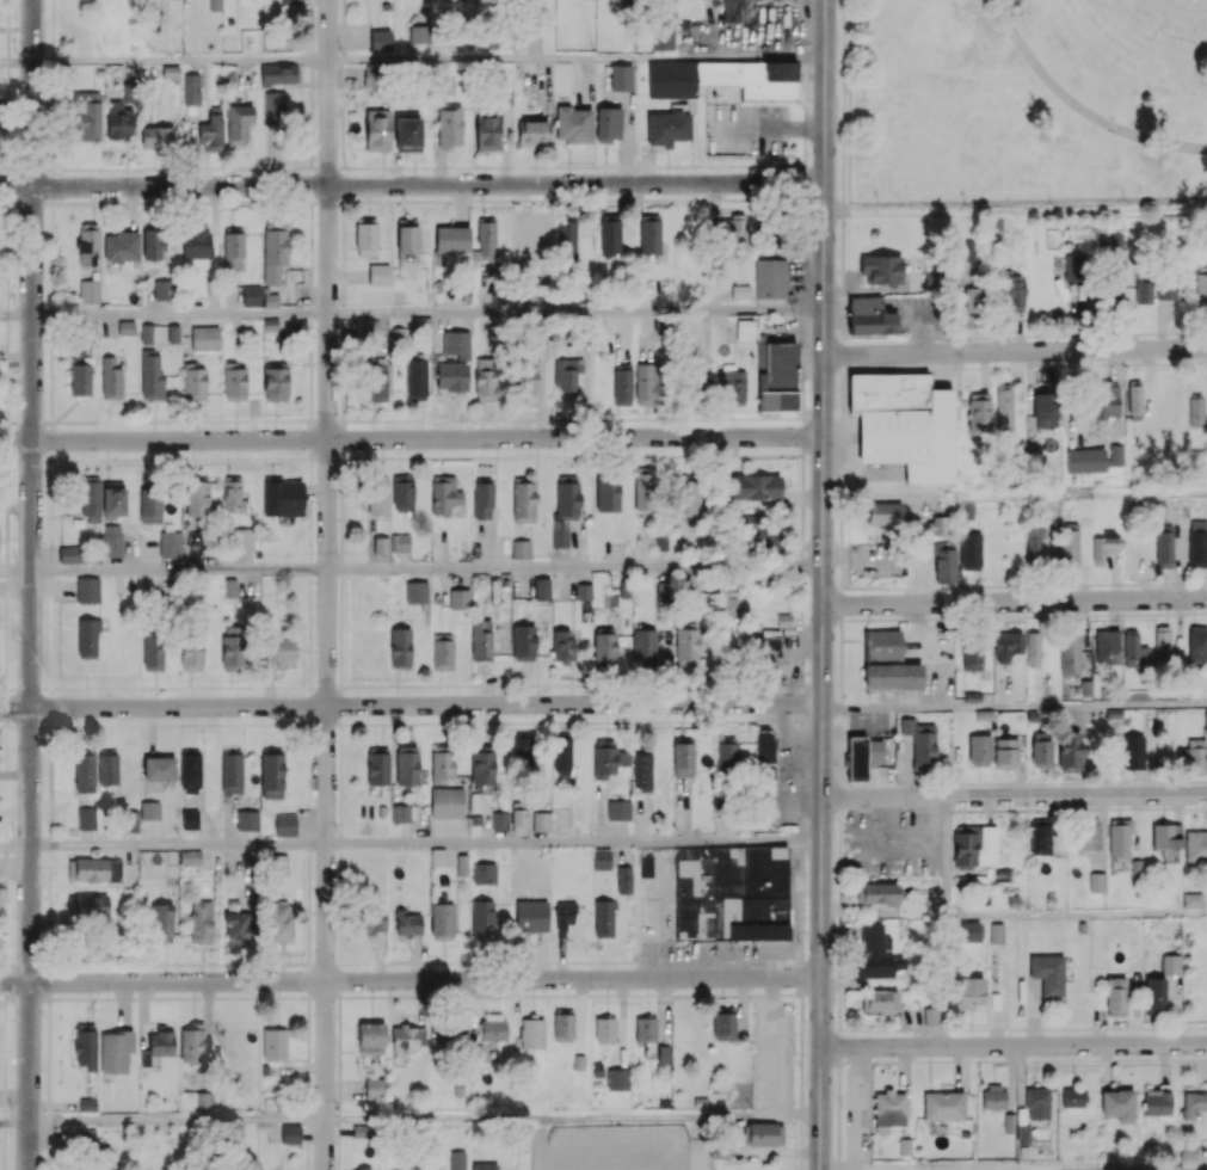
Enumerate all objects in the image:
road: (7, 4)
road: (312, 7)
building: (734, 10)
road: (51, 17)
road: (8, 26)
road: (343, 30)
building: (419, 33)
road: (312, 35)
building: (663, 37)
building: (380, 39)
building: (250, 41)
road: (180, 60)
road: (575, 60)
road: (16, 61)
road: (7, 72)
building: (278, 74)
building: (371, 75)
building: (620, 78)
building: (723, 79)
road: (805, 81)
building: (444, 86)
building: (191, 88)
park: (1024, 98)
road: (51, 100)
road: (1079, 106)
building: (273, 107)
road: (343, 107)
road: (312, 110)
building: (87, 116)
building: (118, 121)
building: (238, 122)
building: (573, 124)
building: (608, 124)
building: (666, 127)
building: (449, 128)
building: (377, 129)
road: (6, 131)
building: (211, 131)
building: (487, 131)
building: (532, 131)
building: (407, 134)
building: (156, 136)
road: (343, 160)
road: (657, 165)
road: (842, 165)
road: (2, 166)
road: (298, 166)
road: (327, 166)
road: (504, 166)
road: (103, 167)
road: (179, 167)
road: (224, 167)
road: (266, 167)
road: (420, 167)
road: (315, 184)
road: (339, 184)
road: (411, 184)
road: (51, 185)
road: (673, 198)
road: (776, 198)
road: (450, 199)
road: (573, 199)
road: (173, 201)
road: (205, 201)
road: (224, 201)
road: (242, 201)
road: (278, 201)
road: (308, 201)
road: (351, 201)
road: (100, 202)
road: (344, 202)
road: (4, 205)
road: (1015, 205)
road: (343, 208)
road: (51, 218)
road: (808, 222)
building: (732, 233)
building: (566, 234)
building: (609, 234)
building: (649, 234)
building: (365, 236)
road: (7, 238)
building: (537, 239)
building: (196, 241)
building: (449, 242)
building: (485, 242)
building: (87, 244)
building: (153, 244)
building: (407, 244)
building: (121, 246)
building: (233, 250)
building: (275, 251)
building: (968, 252)
road: (310, 259)
building: (1074, 267)
building: (881, 269)
road: (341, 273)
building: (377, 273)
building: (770, 278)
building: (1166, 288)
building: (1200, 289)
road: (51, 290)
building: (162, 290)
building: (88, 291)
building: (1144, 291)
building: (1012, 292)
building: (1109, 292)
building: (251, 295)
building: (972, 298)
building: (270, 300)
road: (575, 312)
road: (180, 314)
road: (16, 315)
building: (870, 318)
building: (540, 326)
building: (125, 327)
building: (744, 330)
road: (808, 332)
building: (146, 333)
building: (173, 333)
road: (310, 333)
building: (204, 338)
building: (456, 344)
road: (7, 345)
road: (1015, 352)
road: (341, 361)
building: (150, 376)
building: (451, 376)
building: (565, 376)
building: (777, 377)
building: (80, 378)
building: (110, 378)
building: (415, 380)
building: (485, 380)
building: (275, 381)
building: (525, 381)
building: (193, 382)
building: (234, 382)
building: (377, 382)
road: (310, 383)
building: (646, 383)
building: (732, 384)
road: (50, 386)
building: (622, 386)
building: (1134, 399)
building: (1106, 400)
road: (341, 404)
building: (1004, 407)
building: (1045, 410)
building: (1195, 411)
building: (978, 412)
road: (760, 417)
road: (558, 418)
road: (628, 418)
road: (686, 418)
road: (253, 419)
road: (427, 419)
road: (110, 420)
road: (185, 420)
road: (325, 420)
road: (4, 421)
road: (29, 421)
building: (904, 424)
road: (806, 433)
road: (312, 437)
road: (339, 437)
road: (411, 438)
road: (50, 441)
road: (325, 454)
road: (599, 455)
road: (657, 455)
road: (703, 455)
road: (763, 455)
building: (1115, 455)
road: (455, 456)
road: (245, 457)
road: (50, 458)
road: (164, 458)
road: (340, 458)
road: (2, 460)
road: (67, 460)
road: (94, 460)
road: (127, 460)
building: (1085, 460)
road: (310, 469)
road: (50, 484)
road: (340, 484)
road: (6, 486)
building: (756, 487)
building: (643, 488)
road: (310, 491)
building: (608, 492)
building: (402, 493)
road: (1015, 493)
building: (233, 494)
building: (444, 494)
building: (378, 495)
building: (567, 495)
building: (684, 495)
building: (196, 497)
building: (282, 497)
building: (482, 498)
building: (90, 499)
building: (112, 499)
building: (147, 499)
building: (523, 503)
road: (310, 512)
building: (883, 512)
building: (937, 525)
building: (560, 532)
building: (759, 534)
road: (310, 536)
building: (111, 540)
building: (241, 540)
building: (399, 542)
building: (168, 544)
building: (1040, 544)
building: (1104, 544)
building: (381, 546)
building: (1164, 546)
building: (521, 548)
building: (1069, 548)
building: (1197, 549)
building: (969, 550)
building: (68, 554)
building: (943, 562)
road: (574, 568)
road: (801, 571)
road: (14, 572)
road: (179, 572)
road: (31, 585)
road: (327, 585)
road: (823, 585)
building: (230, 586)
building: (542, 589)
building: (87, 590)
building: (415, 591)
building: (583, 591)
building: (663, 591)
road: (340, 592)
building: (458, 598)
road: (6, 601)
building: (727, 601)
road: (1015, 601)
road: (50, 614)
road: (309, 616)
building: (87, 638)
building: (481, 640)
building: (1162, 640)
building: (523, 643)
building: (883, 643)
building: (1196, 643)
building: (562, 645)
building: (643, 645)
building: (765, 645)
building: (686, 646)
building: (1006, 646)
building: (604, 647)
building: (1107, 647)
building: (400, 648)
building: (1032, 648)
building: (153, 651)
building: (278, 651)
building: (442, 651)
building: (1133, 651)
building: (232, 653)
building: (1069, 653)
building: (191, 654)
building: (972, 658)
building: (893, 676)
road: (675, 683)
road: (782, 683)
road: (420, 684)
road: (532, 684)
road: (573, 684)
road: (179, 686)
road: (2, 688)
road: (802, 700)
road: (339, 703)
road: (313, 704)
road: (411, 704)
road: (1014, 707)
road: (6, 708)
road: (759, 720)
road: (548, 721)
road: (578, 721)
road: (639, 721)
road: (704, 721)
building: (1206, 721)
road: (392, 722)
road: (486, 722)
road: (99, 723)
road: (204, 723)
road: (284, 723)
road: (2, 726)
road: (309, 735)
building: (919, 739)
building: (522, 745)
building: (979, 750)
building: (1040, 750)
building: (1070, 751)
building: (1004, 752)
building: (1133, 752)
building: (562, 753)
building: (763, 753)
building: (726, 755)
building: (1194, 755)
building: (862, 756)
building: (604, 758)
building: (623, 758)
building: (682, 758)
road: (49, 762)
building: (442, 764)
building: (377, 765)
building: (406, 765)
building: (107, 766)
building: (159, 768)
building: (482, 768)
building: (641, 770)
building: (190, 771)
building: (230, 771)
building: (85, 772)
building: (271, 775)
building: (251, 777)
road: (339, 795)
road: (1015, 796)
building: (447, 802)
building: (149, 809)
building: (618, 809)
building: (400, 813)
building: (518, 814)
building: (86, 818)
building: (189, 819)
building: (131, 820)
building: (247, 820)
building: (499, 820)
building: (541, 821)
building: (284, 824)
road: (6, 833)
road: (49, 835)
building: (1040, 835)
building: (1166, 836)
building: (1086, 837)
road: (801, 839)
building: (1119, 839)
road: (177, 843)
road: (574, 843)
road: (13, 844)
building: (974, 845)
building: (1195, 845)
road: (308, 855)
road: (947, 856)
building: (190, 857)
building: (601, 858)
building: (278, 864)
building: (1137, 868)
building: (94, 869)
building: (482, 873)
building: (623, 879)
building: (1097, 882)
building: (731, 893)
building: (876, 893)
road: (339, 898)
building: (1191, 900)
building: (90, 905)
road: (1077, 913)
building: (531, 916)
building: (564, 916)
road: (48, 917)
building: (481, 919)
building: (603, 919)
building: (201, 920)
building: (442, 920)
building: (281, 922)
building: (371, 922)
building: (161, 923)
building: (407, 923)
road: (5, 926)
building: (238, 928)
building: (969, 930)
building: (997, 932)
road: (339, 946)
building: (876, 953)
road: (664, 961)
road: (356, 962)
road: (392, 962)
road: (438, 962)
road: (497, 962)
road: (119, 963)
road: (133, 963)
road: (184, 963)
road: (257, 963)
road: (297, 963)
building: (1171, 963)
road: (2, 965)
road: (60, 965)
road: (84, 965)
road: (105, 965)
road: (324, 965)
building: (1047, 973)
road: (801, 975)
road: (409, 980)
road: (948, 981)
building: (971, 990)
road: (755, 993)
road: (25, 995)
road: (322, 995)
road: (565, 995)
road: (635, 995)
road: (675, 995)
road: (703, 995)
road: (381, 996)
road: (443, 996)
road: (476, 996)
road: (501, 996)
building: (1115, 996)
building: (1154, 996)
road: (150, 997)
road: (278, 997)
road: (1, 999)
building: (879, 1000)
building: (931, 1016)
building: (723, 1023)
building: (492, 1027)
building: (562, 1027)
building: (604, 1029)
building: (645, 1029)
building: (450, 1033)
building: (531, 1033)
building: (370, 1037)
building: (408, 1037)
road: (308, 1040)
building: (161, 1042)
building: (192, 1043)
building: (273, 1043)
building: (86, 1046)
road: (1014, 1046)
building: (115, 1051)
building: (617, 1079)
road: (800, 1082)
road: (5, 1084)
road: (49, 1084)
road: (338, 1084)
building: (374, 1088)
road: (308, 1095)
building: (993, 1096)
building: (1072, 1097)
building: (196, 1101)
building: (1037, 1102)
building: (889, 1103)
building: (1193, 1103)
building: (87, 1104)
building: (1117, 1104)
building: (943, 1106)
road: (572, 1116)
road: (175, 1120)
road: (13, 1122)
building: (1009, 1122)
building: (290, 1133)
building: (765, 1133)
building: (1023, 1133)
building: (85, 1137)
road: (307, 1140)
building: (1187, 1151)
building: (718, 1152)
building: (457, 1159)
road: (1014, 1165)
building: (484, 1166)
building: (352, 1169)

